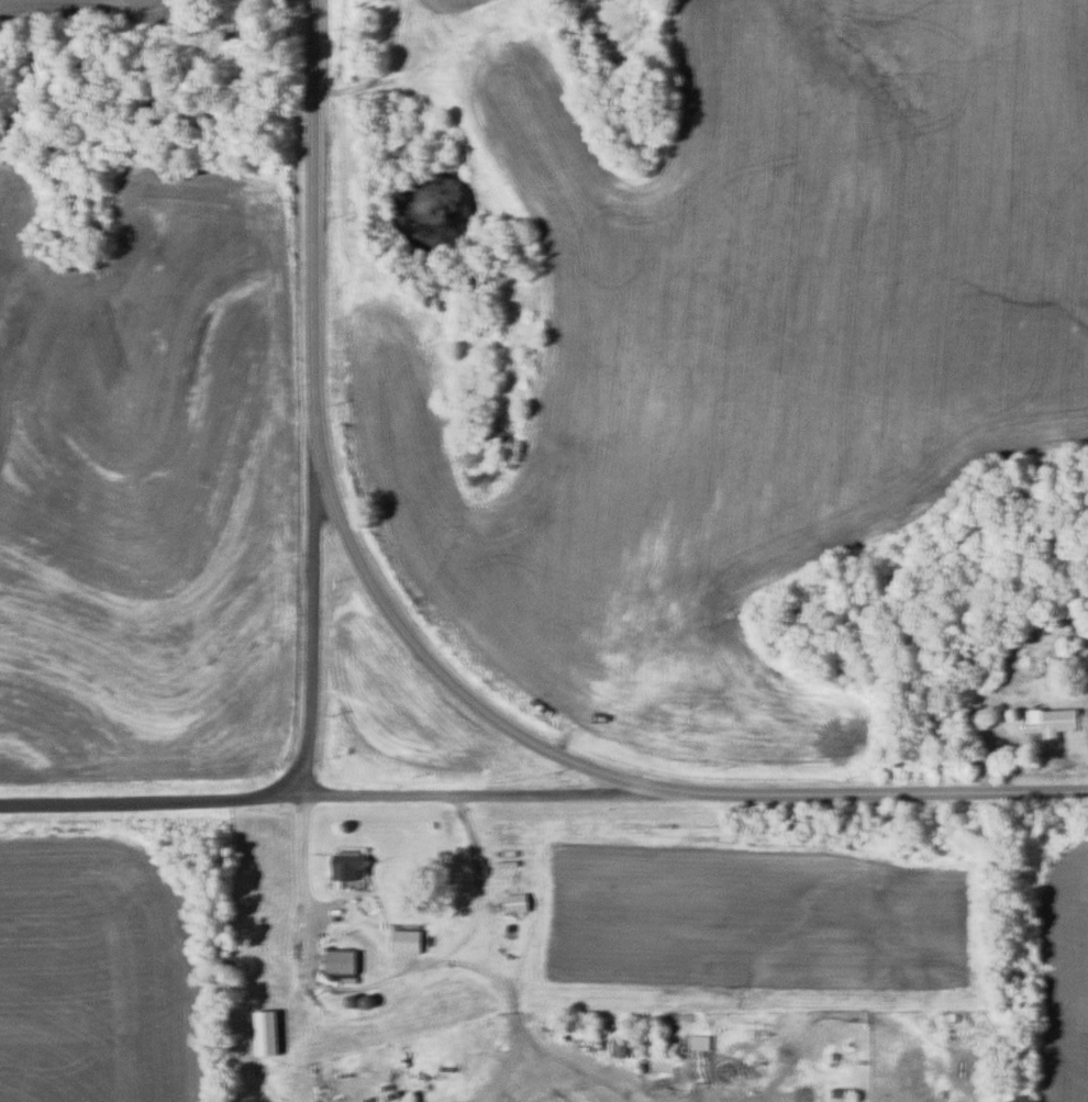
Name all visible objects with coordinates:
road: (388, 73)
road: (314, 622)
road: (429, 663)
building: (1050, 721)
road: (464, 793)
road: (134, 800)
building: (352, 867)
building: (366, 911)
building: (344, 962)
road: (362, 977)
building: (700, 1043)
building: (668, 1047)
building: (621, 1048)
building: (839, 1095)

